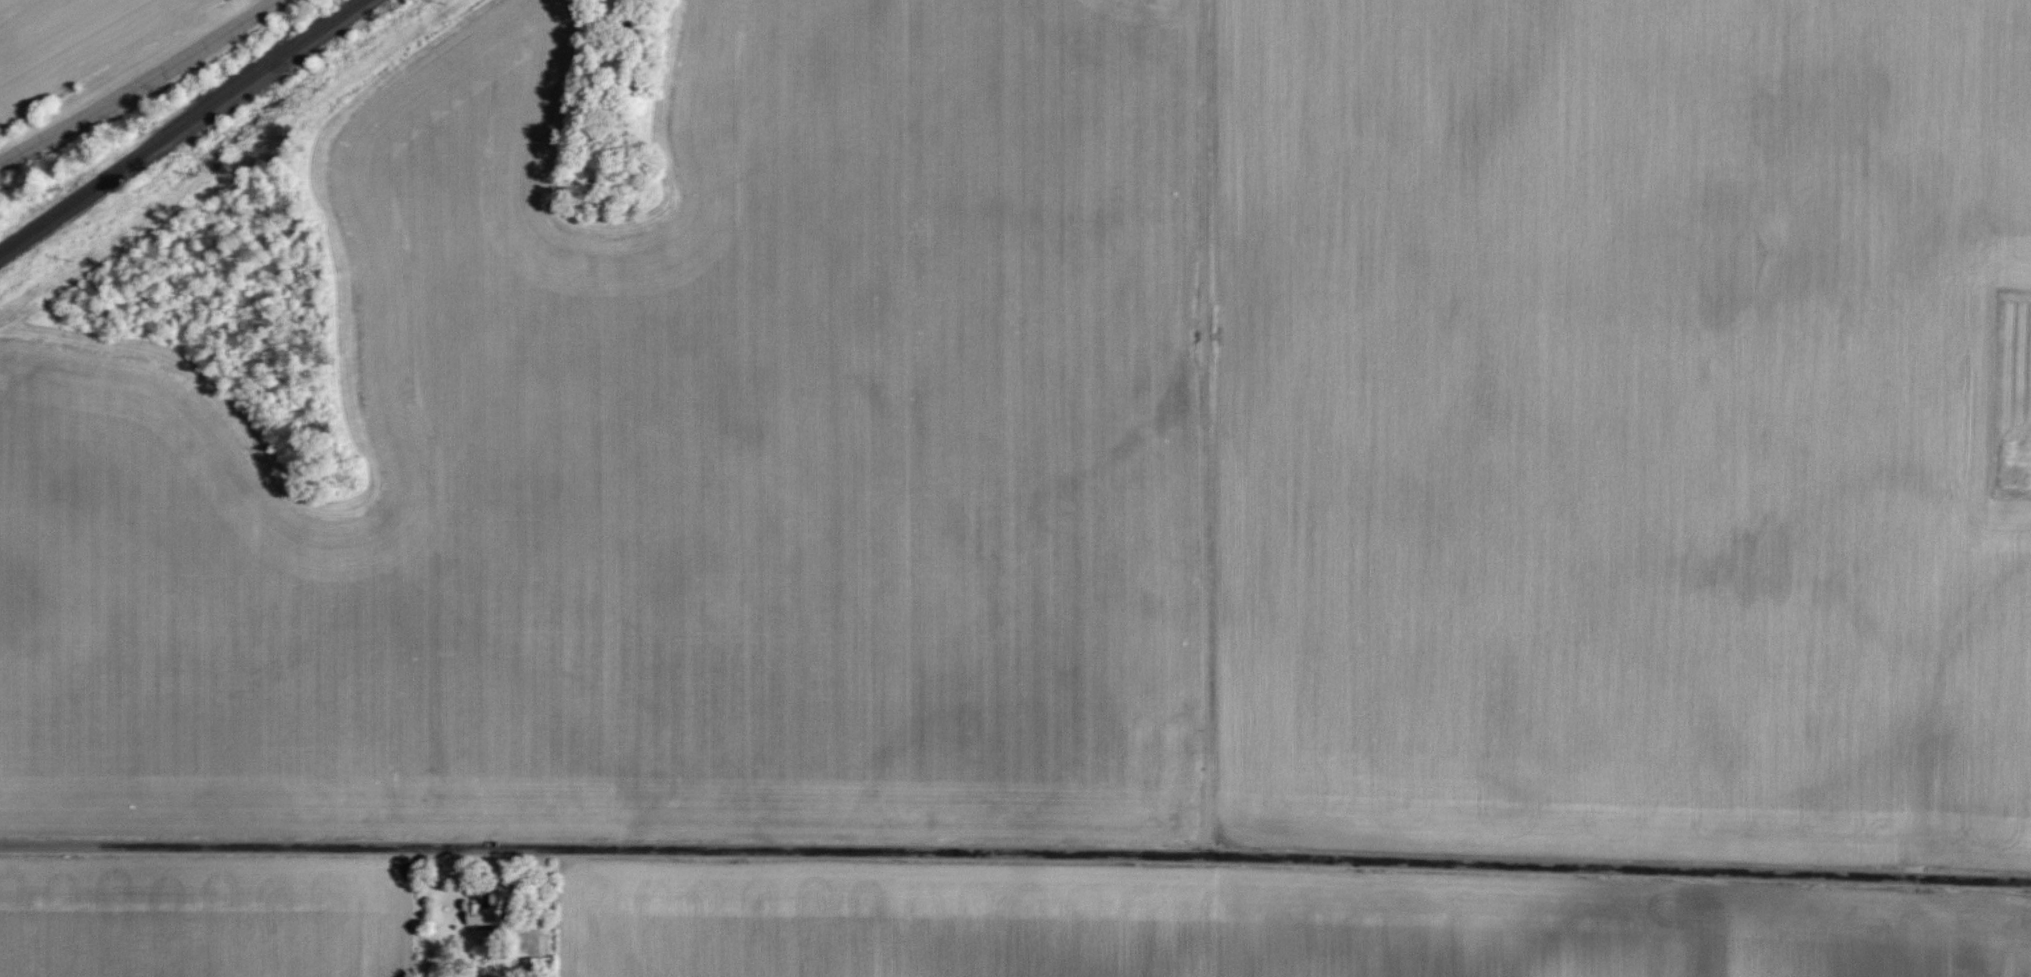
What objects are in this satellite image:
road: (140, 85)
railway: (186, 127)
road: (1209, 429)
road: (1015, 855)
building: (484, 914)
building: (540, 963)

